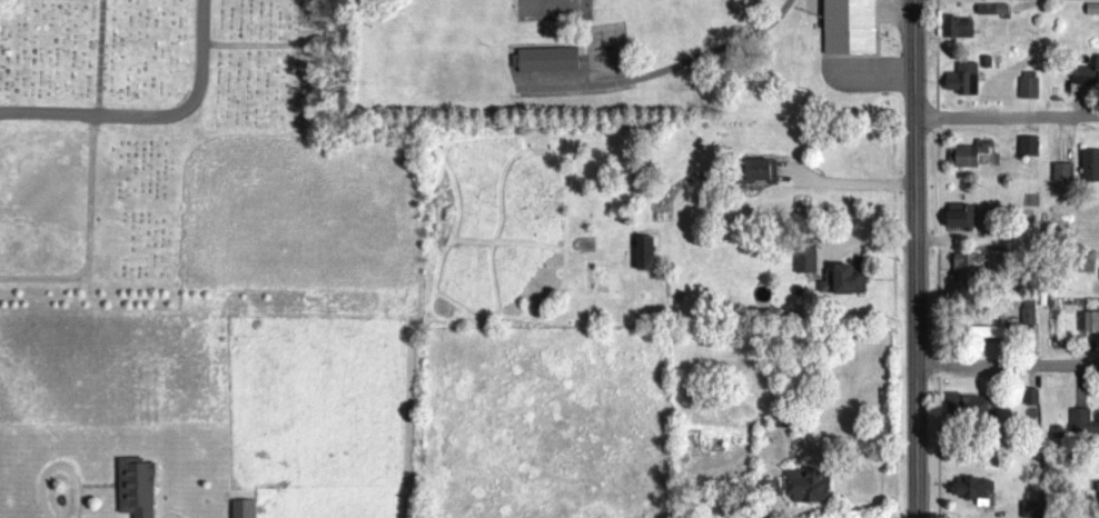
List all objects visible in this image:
building: (1000, 10)
building: (1095, 10)
building: (857, 27)
building: (966, 29)
building: (551, 61)
building: (1088, 76)
building: (968, 80)
building: (1033, 86)
road: (1007, 116)
road: (150, 117)
park: (132, 120)
building: (1033, 147)
building: (978, 156)
building: (1092, 167)
building: (770, 171)
building: (1067, 173)
building: (972, 218)
road: (1008, 239)
building: (652, 255)
road: (917, 258)
building: (811, 261)
building: (982, 267)
building: (849, 282)
building: (1032, 313)
building: (1091, 325)
building: (1000, 335)
road: (1008, 366)
building: (972, 407)
building: (1085, 424)
building: (814, 487)
building: (142, 489)
building: (978, 489)
building: (250, 509)
building: (1036, 510)

